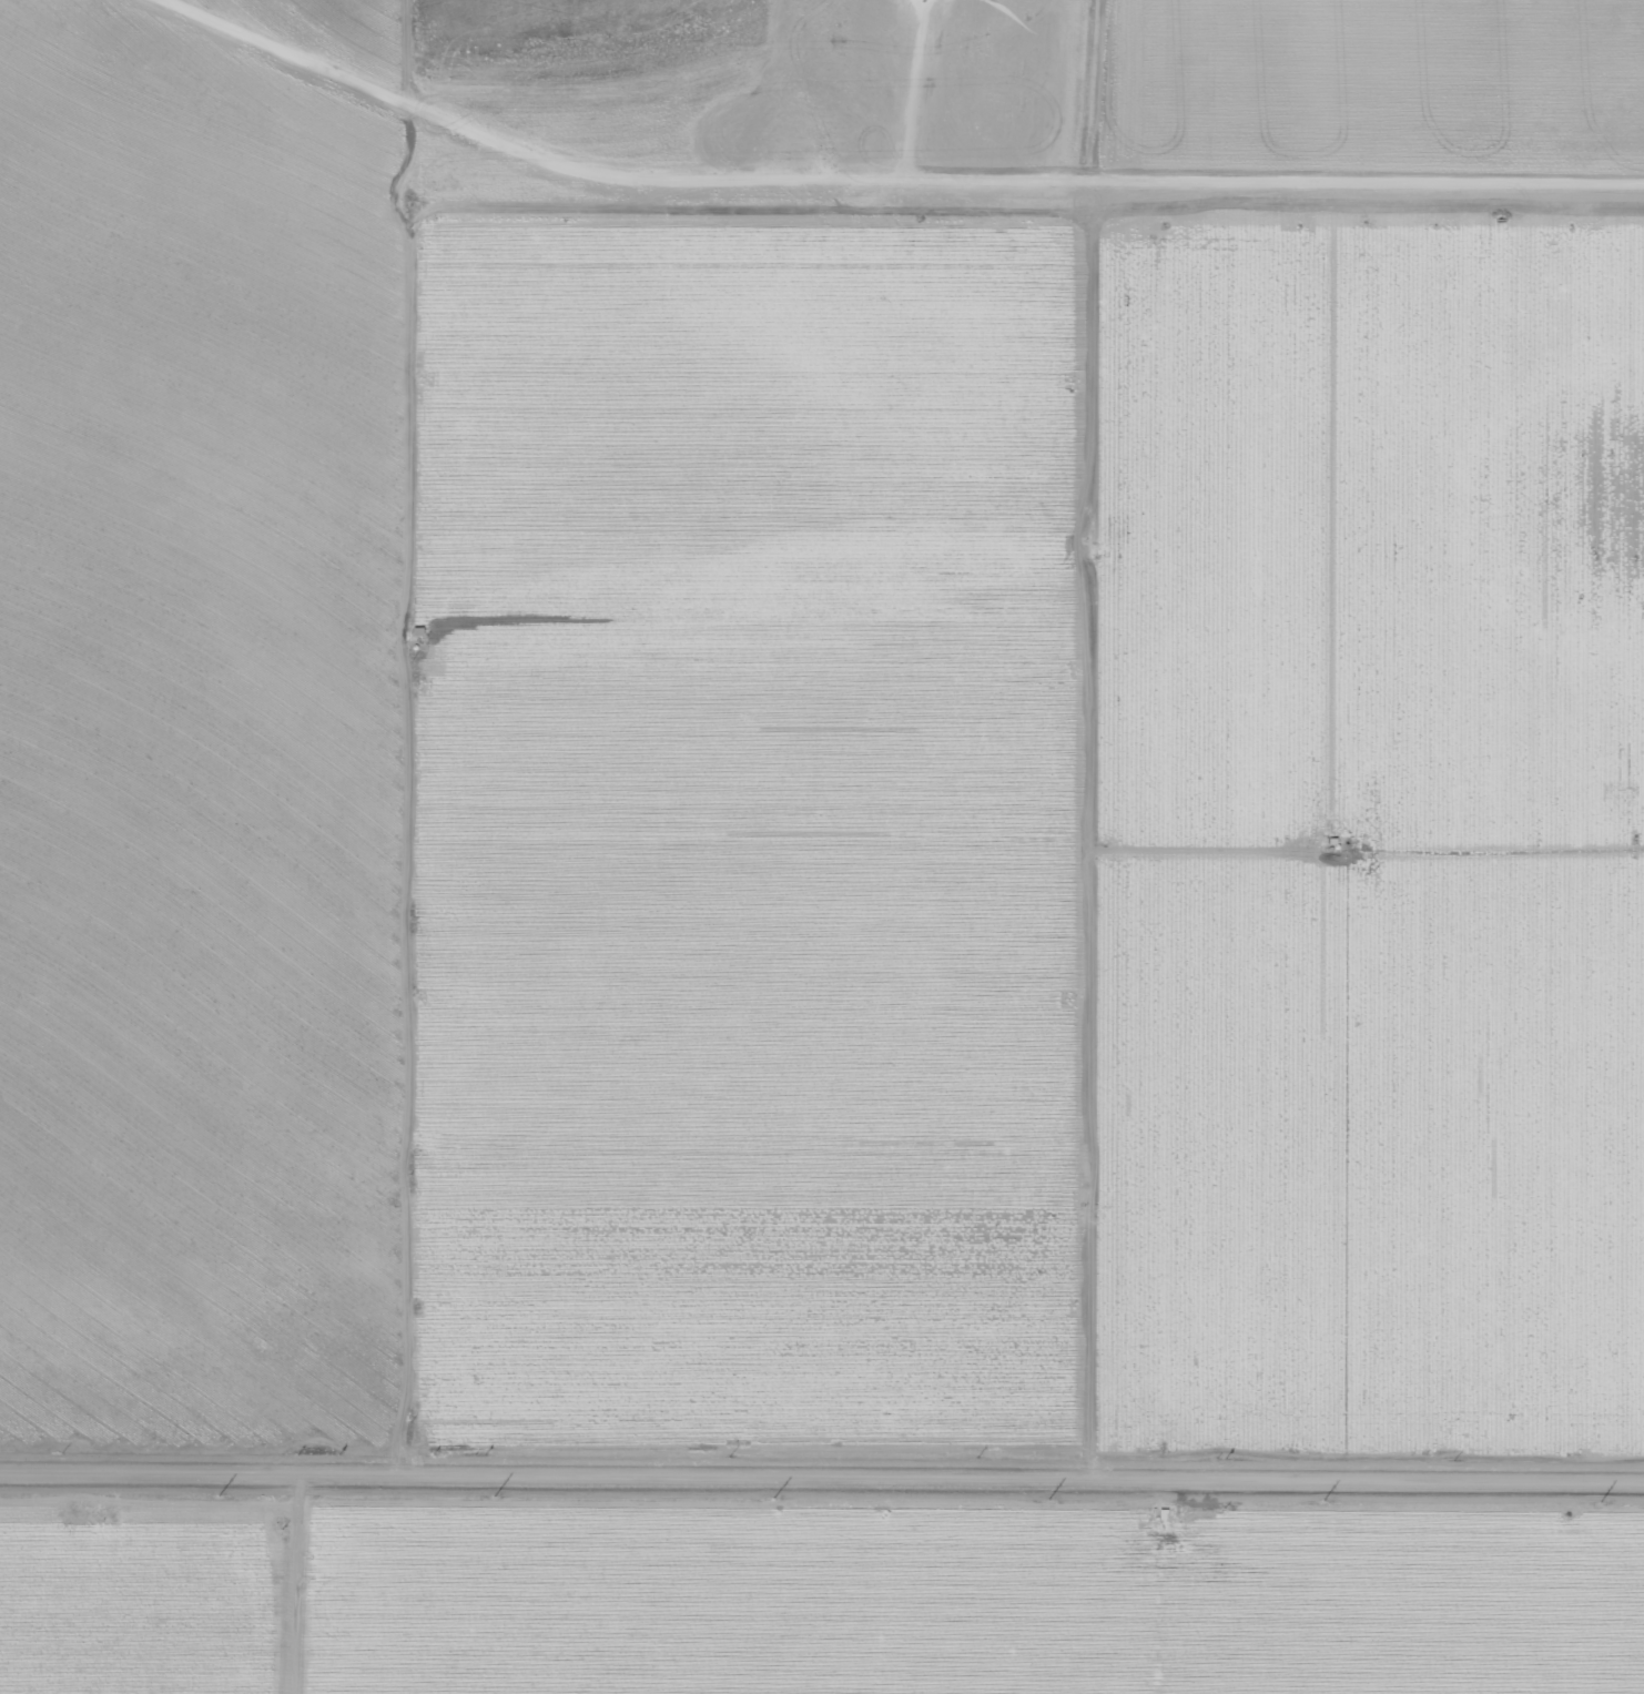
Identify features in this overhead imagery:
road: (821, 1485)

